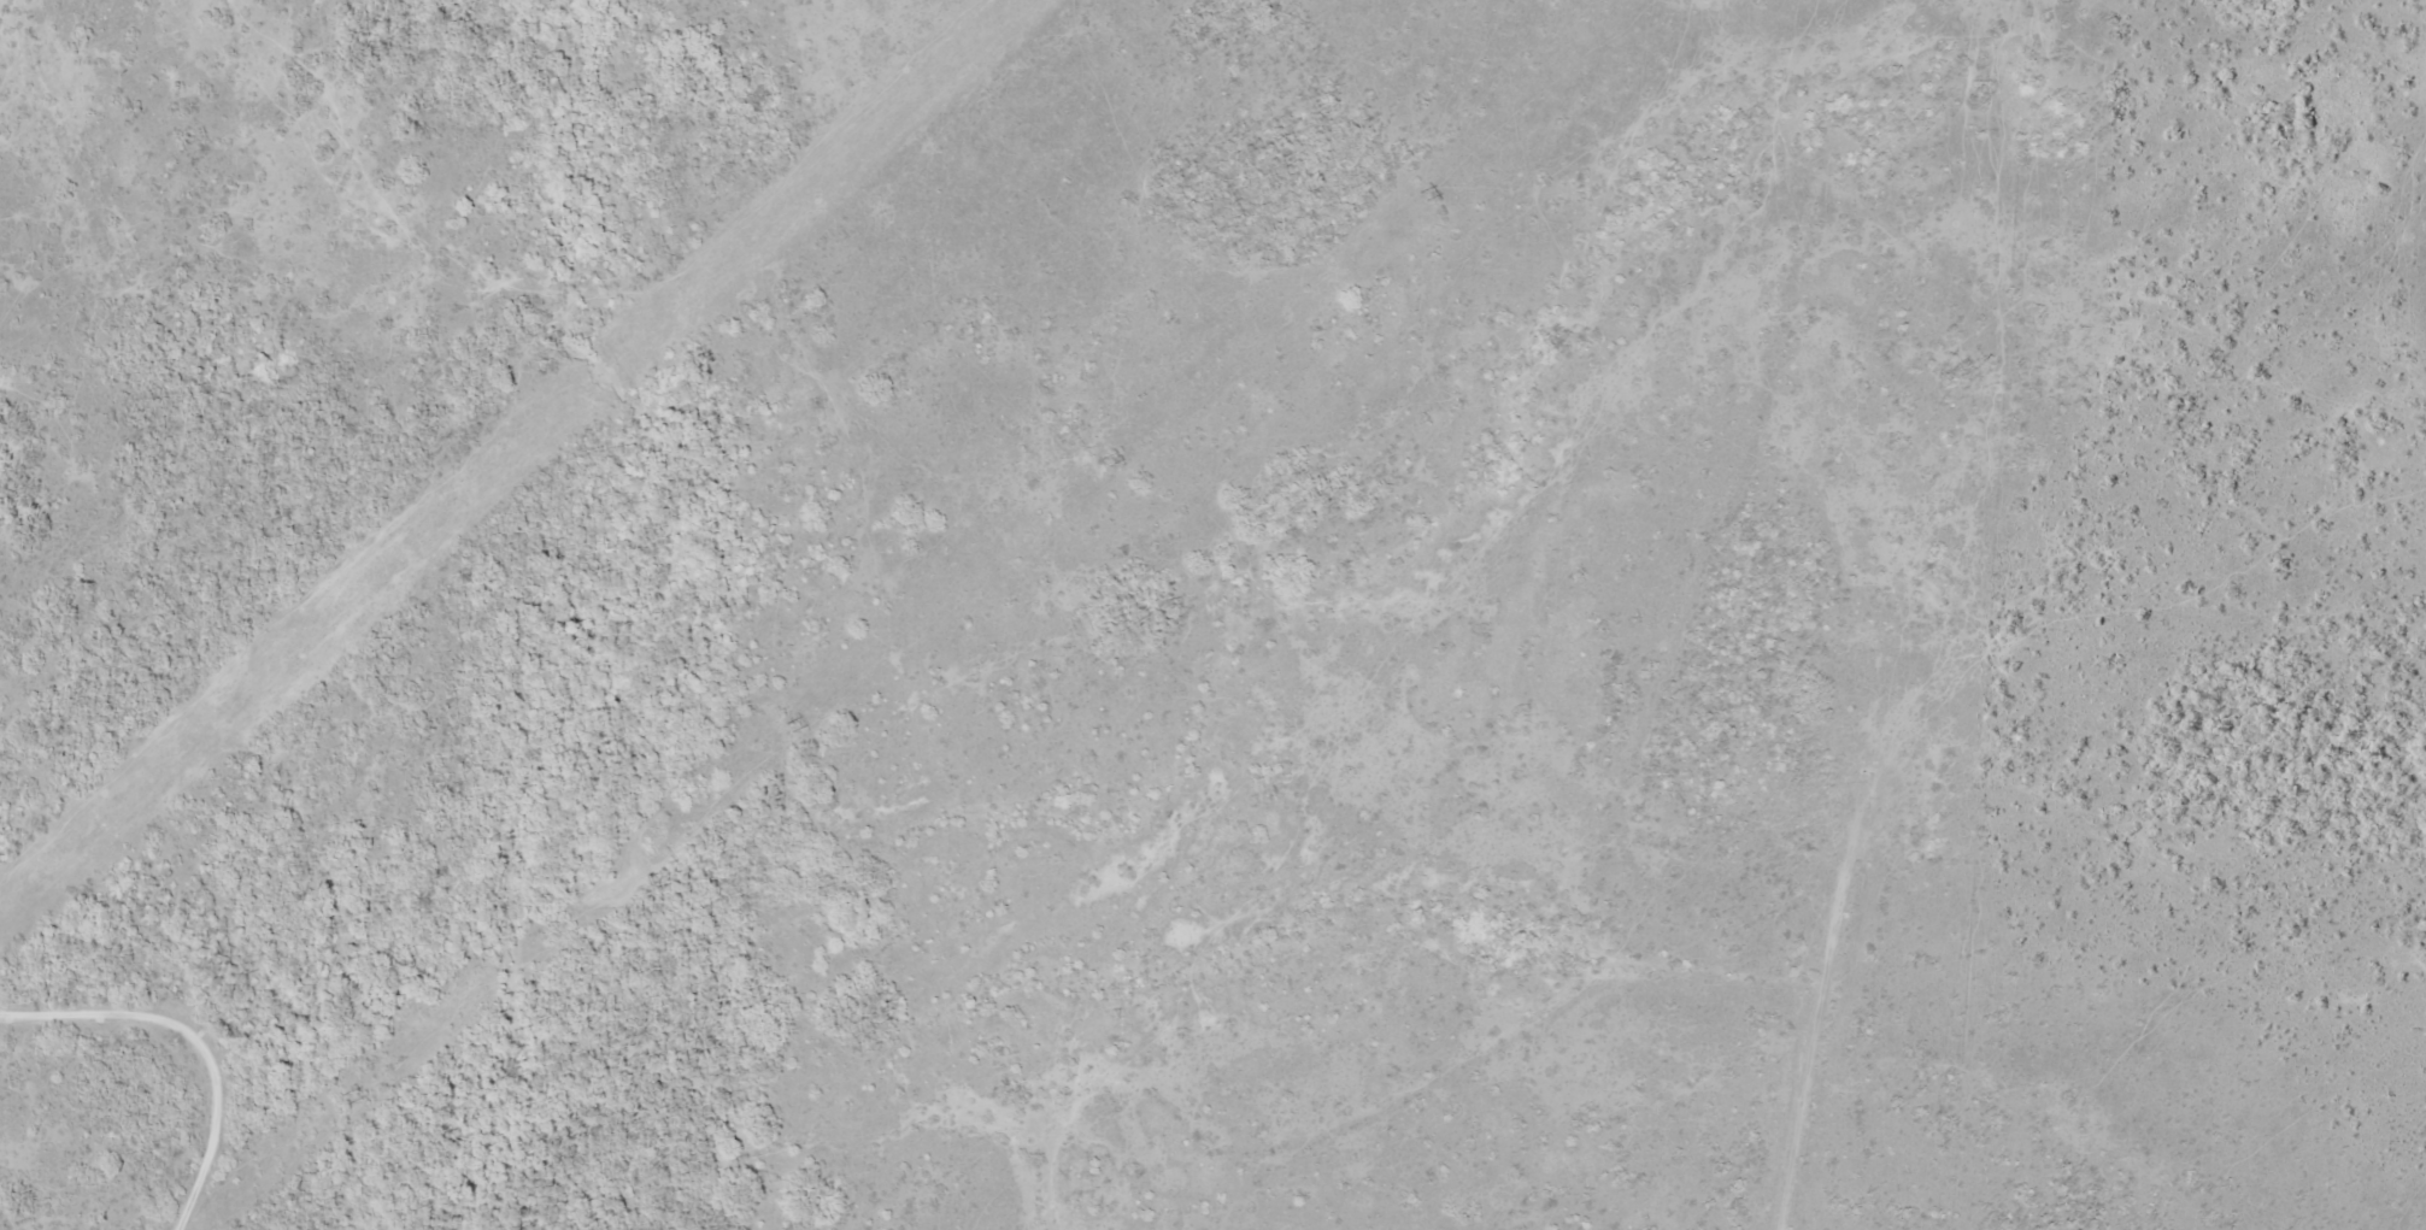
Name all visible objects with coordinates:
power tower: (1422, 195)
power tower: (1105, 463)
power tower: (788, 726)
road: (140, 1091)
power tower: (347, 1096)

